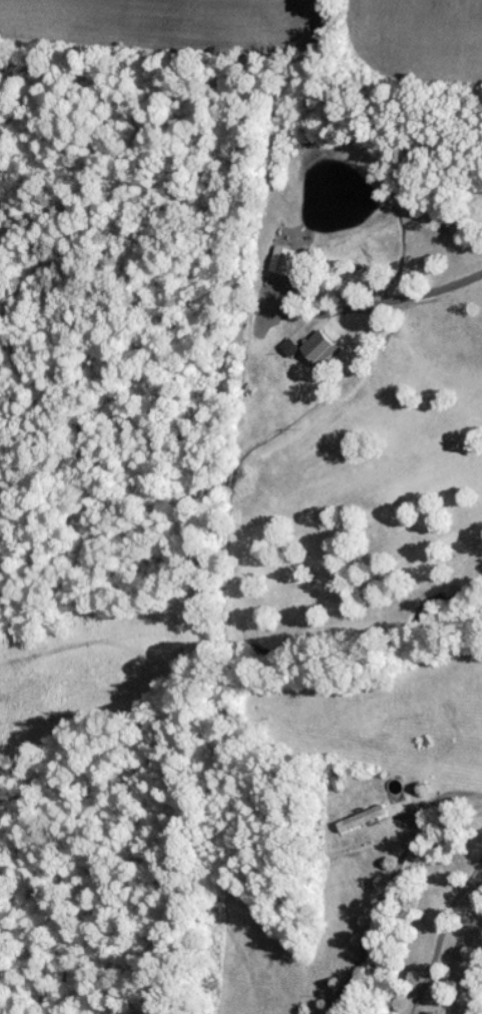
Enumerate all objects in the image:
building: (282, 263)
building: (291, 348)
road: (466, 801)
building: (362, 820)
building: (437, 880)

